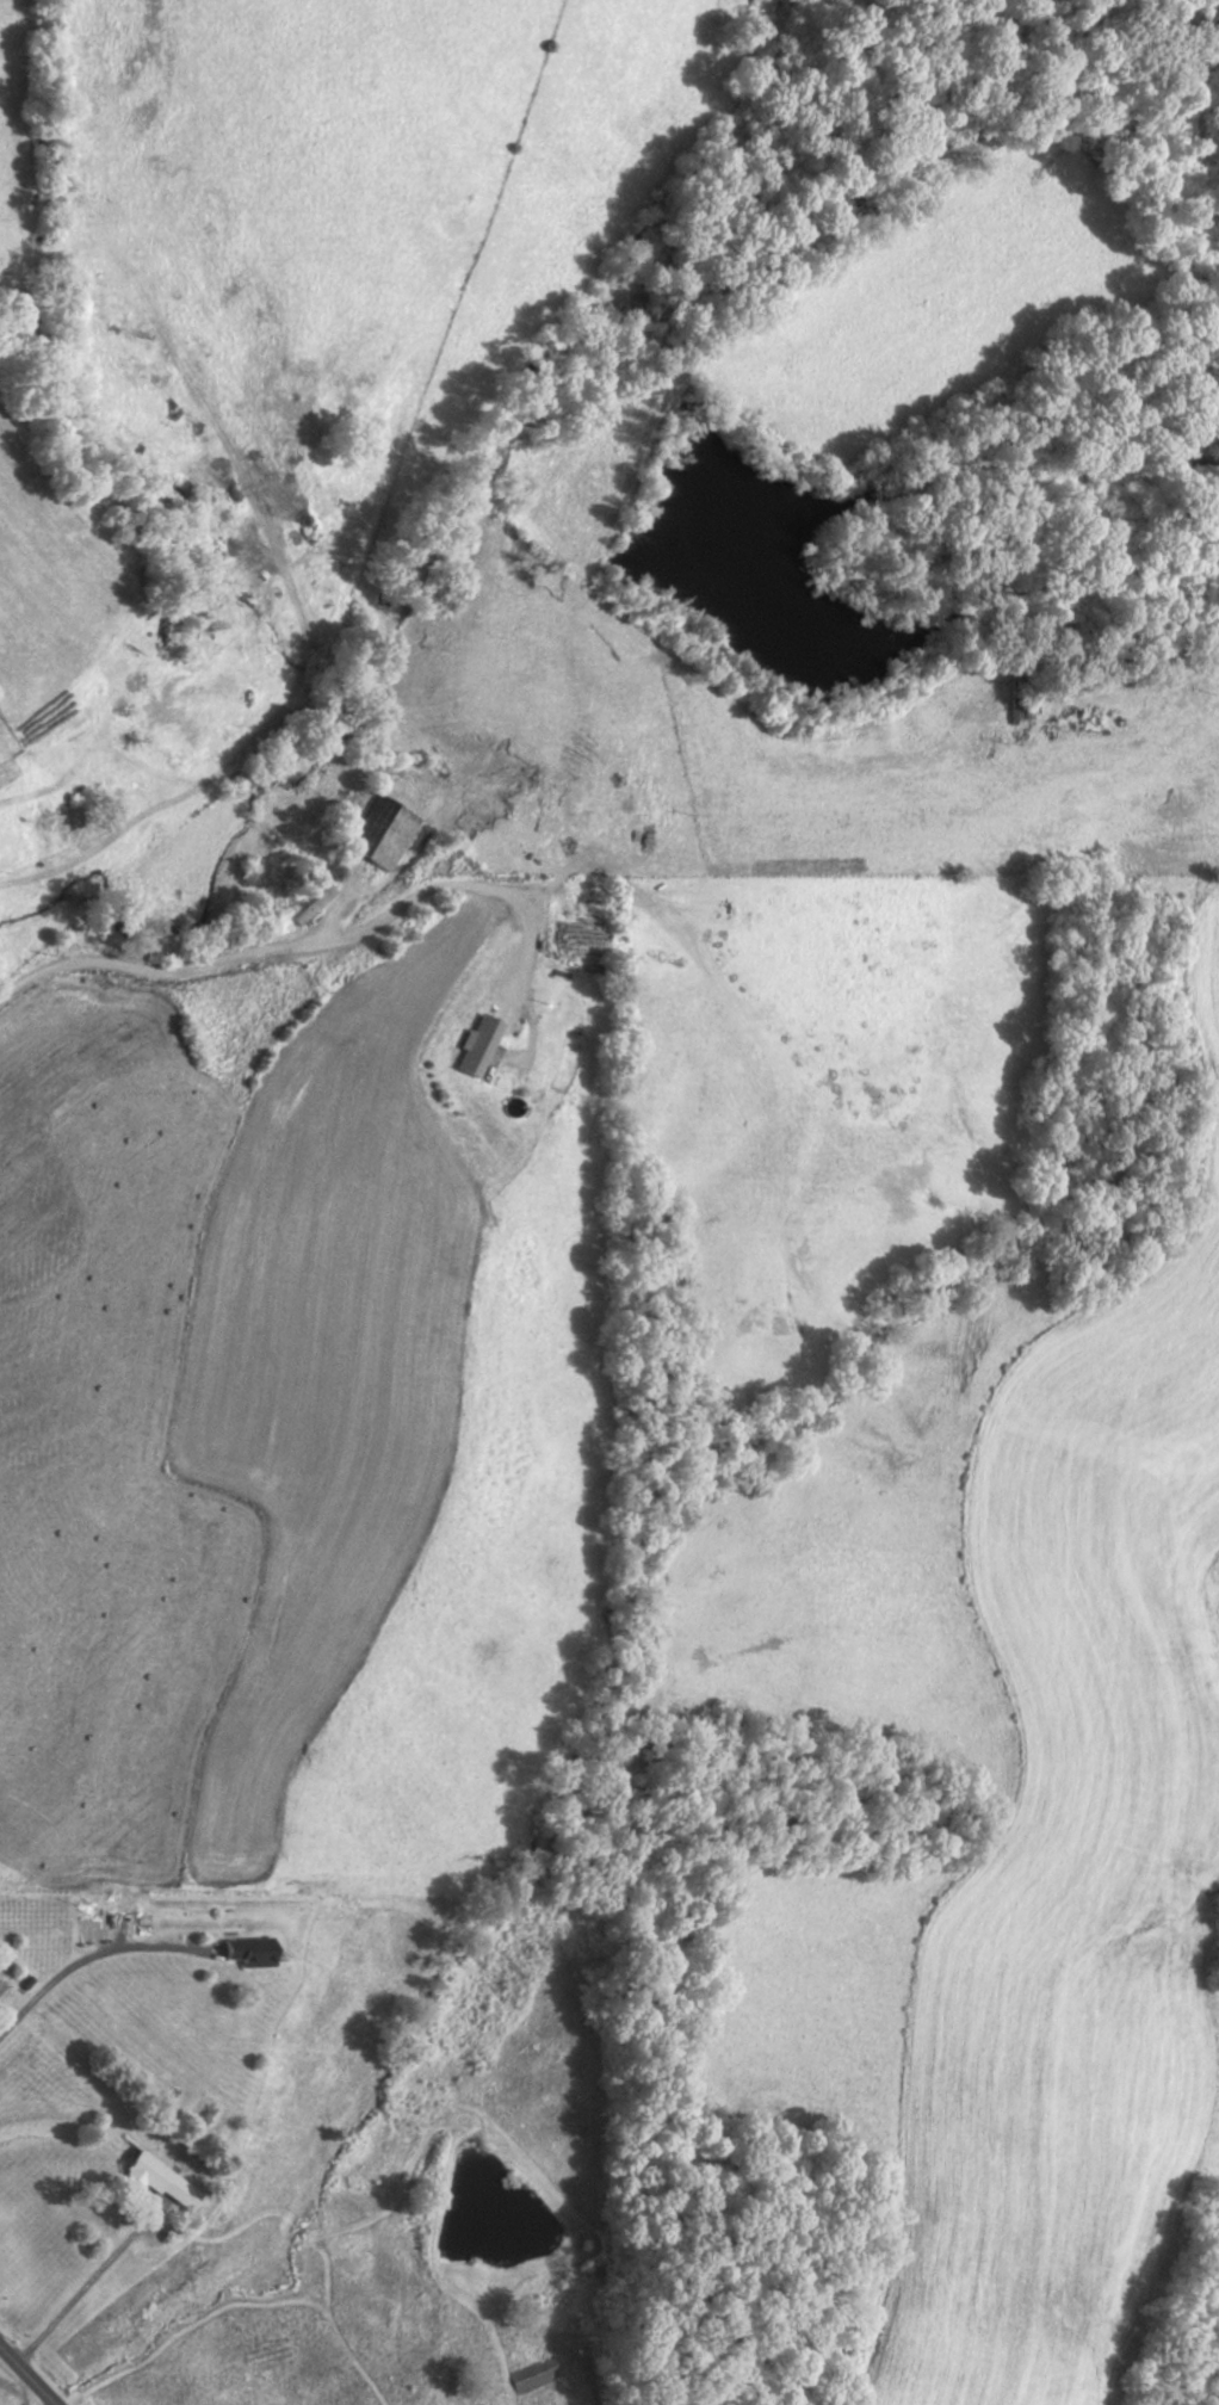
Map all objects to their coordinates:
building: (377, 833)
road: (154, 963)
building: (472, 1045)
building: (87, 1928)
road: (85, 1958)
building: (156, 2180)
road: (79, 2289)
road: (29, 2373)

